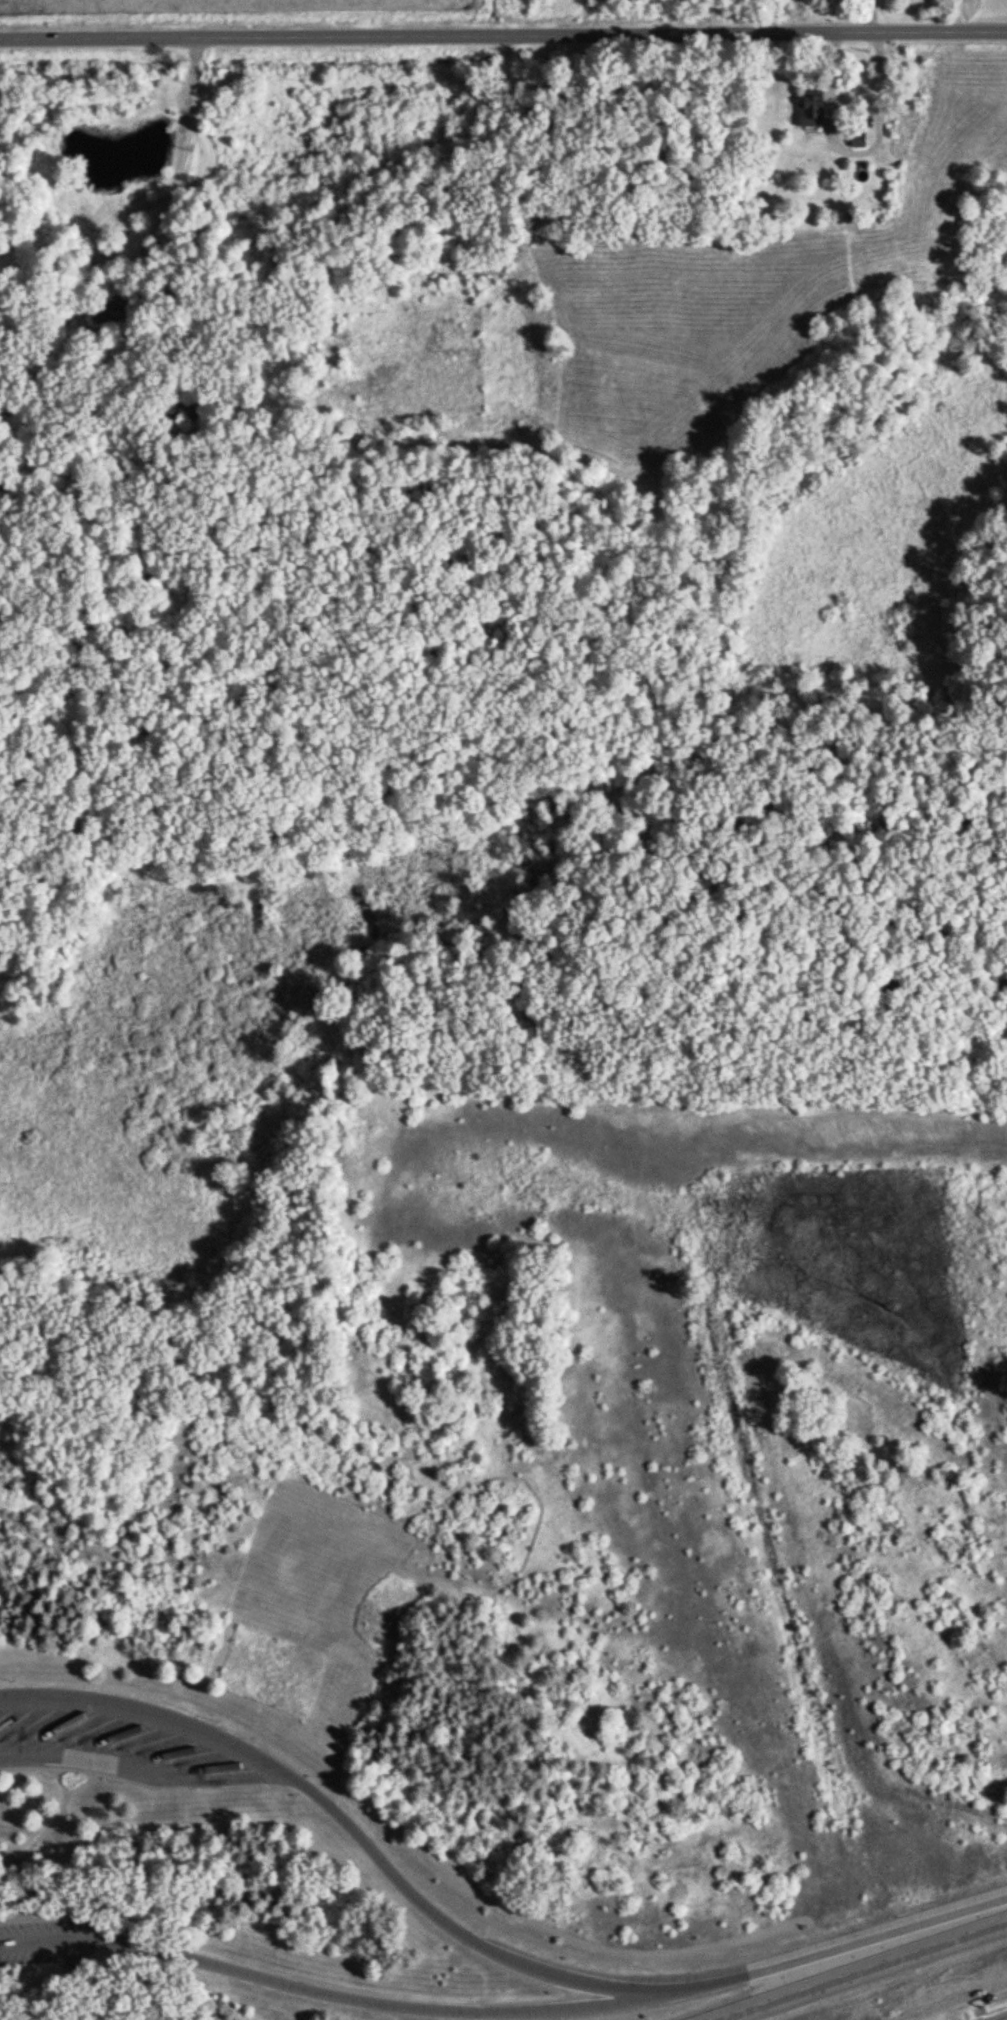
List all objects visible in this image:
road: (503, 39)
road: (855, 153)
road: (192, 183)
road: (152, 1710)
parking lot: (123, 1741)
road: (78, 1775)
road: (61, 1783)
road: (48, 1828)
road: (373, 1846)
road: (17, 1897)
road: (56, 1917)
parking lot: (64, 1944)
road: (867, 1950)
road: (867, 1973)
road: (361, 2000)
road: (998, 2017)

